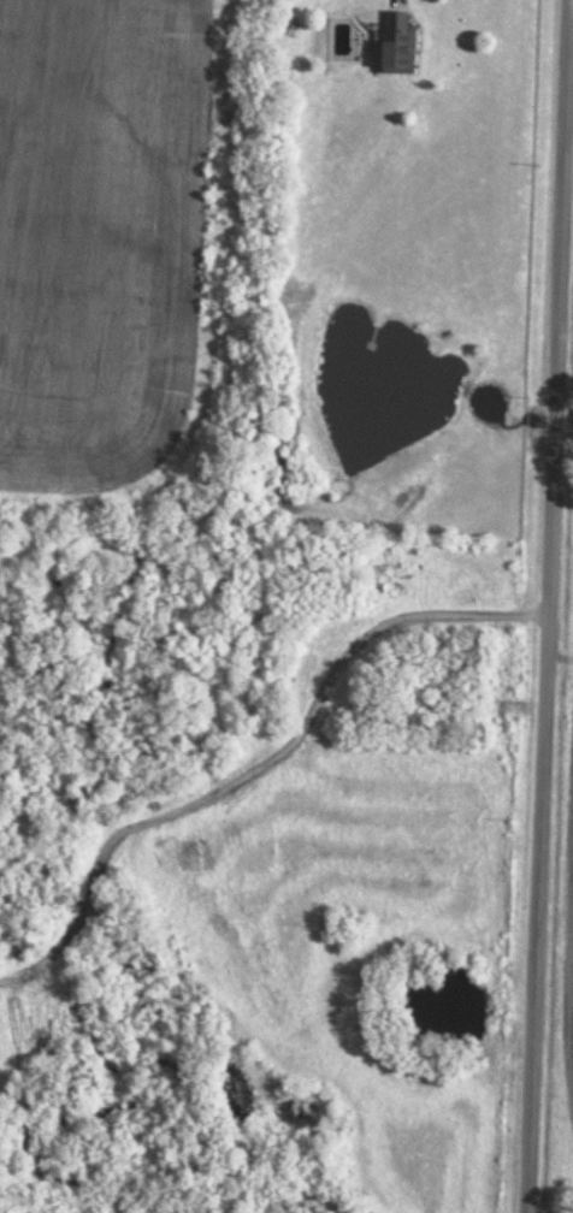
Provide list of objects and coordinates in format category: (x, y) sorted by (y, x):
building: (397, 41)
road: (553, 633)

